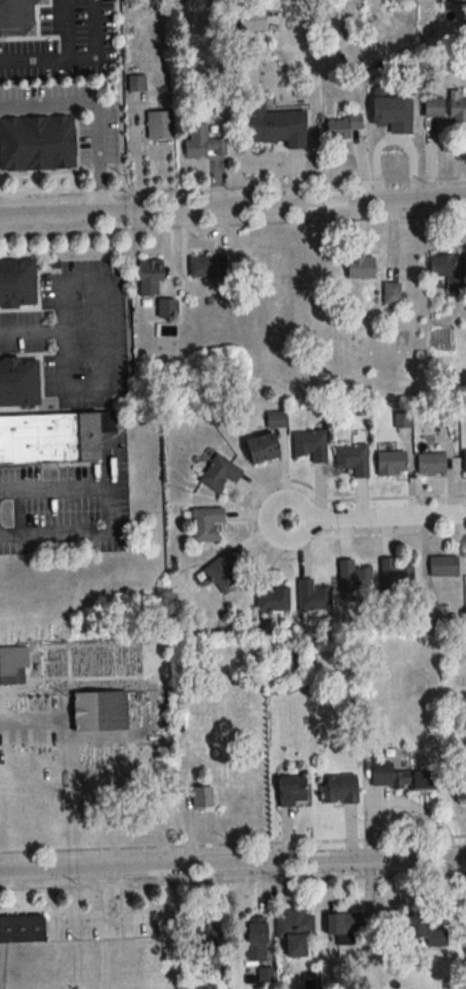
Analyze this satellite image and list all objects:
building: (458, 1)
building: (17, 17)
road: (66, 30)
road: (99, 45)
road: (34, 61)
building: (433, 107)
building: (457, 107)
road: (100, 112)
building: (392, 113)
building: (158, 125)
building: (275, 125)
building: (342, 126)
building: (36, 143)
building: (202, 143)
road: (136, 153)
road: (233, 209)
building: (207, 266)
building: (360, 267)
building: (449, 270)
building: (149, 277)
building: (16, 283)
building: (391, 293)
building: (166, 308)
road: (33, 336)
road: (110, 340)
building: (18, 382)
building: (442, 417)
building: (275, 419)
building: (52, 439)
building: (310, 444)
building: (261, 448)
building: (352, 458)
building: (464, 460)
building: (390, 463)
building: (430, 463)
building: (219, 473)
road: (106, 508)
road: (375, 517)
building: (205, 523)
building: (443, 566)
building: (222, 572)
building: (394, 575)
building: (353, 577)
building: (270, 596)
building: (312, 596)
building: (431, 614)
building: (13, 664)
building: (98, 711)
road: (65, 737)
building: (399, 778)
building: (338, 789)
building: (291, 792)
building: (201, 797)
road: (233, 865)
road: (132, 915)
road: (108, 916)
building: (344, 924)
building: (21, 928)
building: (423, 930)
building: (296, 933)
building: (254, 939)
building: (201, 943)
building: (463, 971)

